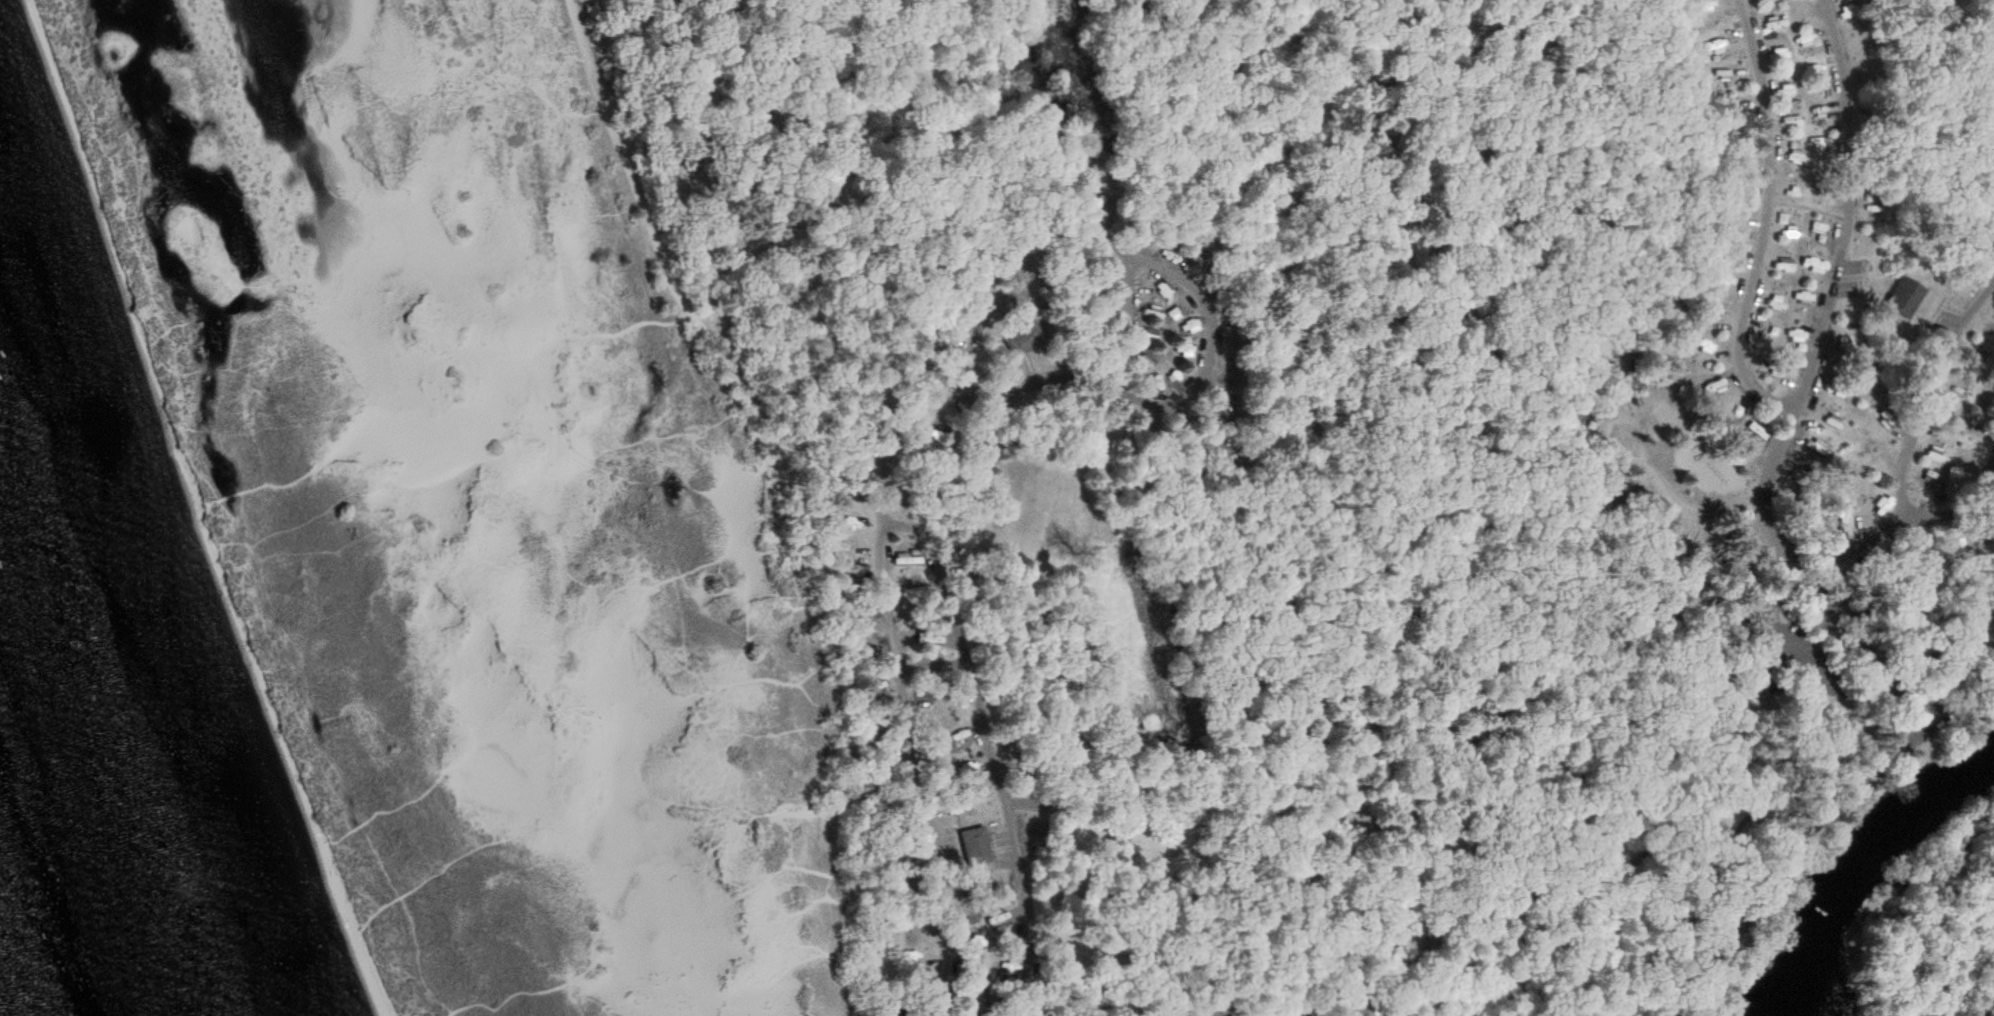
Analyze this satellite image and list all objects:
building: (1812, 40)
road: (1050, 118)
building: (1795, 157)
building: (1795, 195)
building: (1819, 224)
building: (1793, 232)
road: (687, 287)
road: (1199, 293)
building: (1907, 299)
road: (1131, 320)
building: (1185, 325)
road: (1361, 326)
building: (1025, 339)
building: (1710, 349)
road: (1289, 392)
road: (1194, 393)
road: (1791, 407)
road: (1910, 455)
road: (1656, 462)
road: (1769, 488)
park: (1051, 494)
road: (922, 528)
building: (912, 593)
road: (1782, 596)
road: (1827, 607)
road: (1978, 646)
building: (958, 738)
road: (1794, 789)
road: (1821, 826)
building: (976, 844)
river: (1862, 874)

